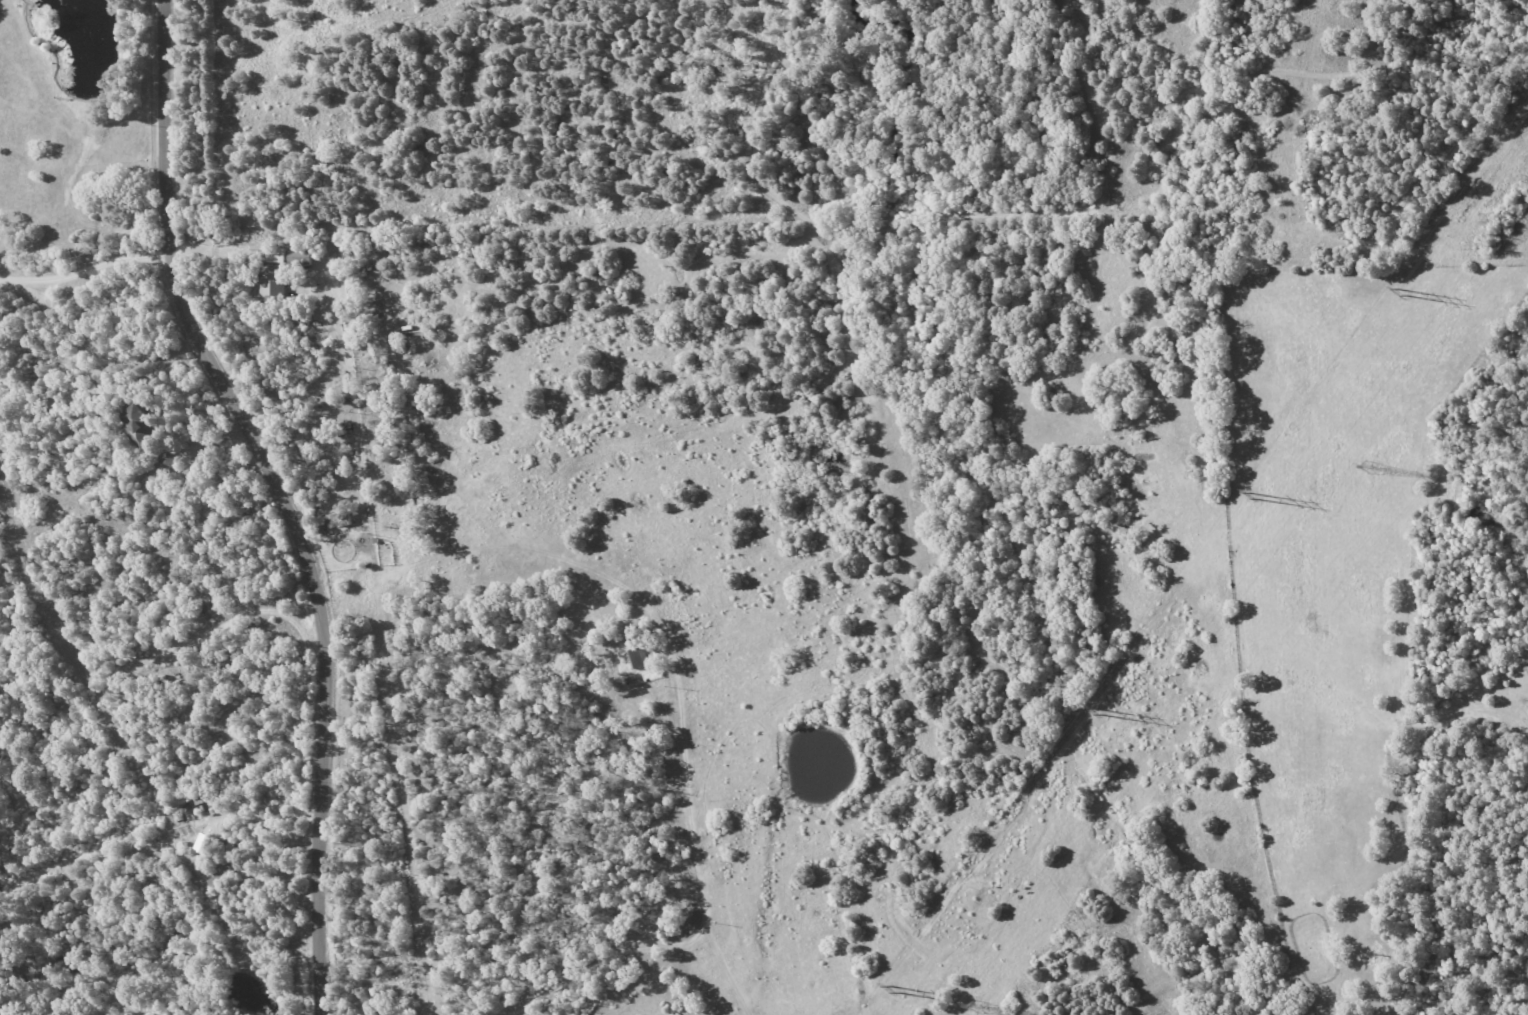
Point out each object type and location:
road: (1092, 54)
road: (1119, 107)
building: (276, 255)
building: (299, 257)
road: (85, 282)
building: (272, 282)
power tower: (1400, 293)
road: (322, 395)
building: (142, 423)
building: (166, 462)
power tower: (1366, 468)
road: (282, 498)
power tower: (1252, 498)
building: (638, 657)
power tower: (1096, 714)
road: (226, 841)
building: (202, 843)
building: (220, 873)
power tower: (896, 991)
power tower: (978, 1009)
building: (0, 1014)

